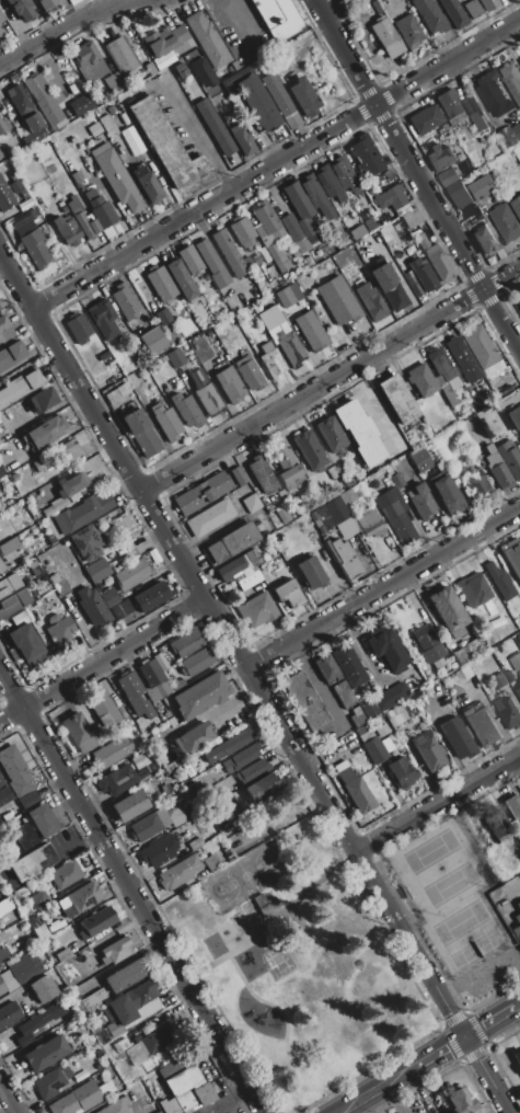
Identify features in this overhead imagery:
building: (47, 4)
building: (488, 4)
building: (375, 7)
building: (21, 9)
building: (473, 9)
building: (453, 13)
building: (430, 16)
building: (1, 19)
building: (279, 19)
road: (74, 21)
building: (1, 31)
building: (408, 32)
building: (386, 37)
building: (209, 39)
building: (160, 43)
building: (123, 56)
building: (89, 62)
building: (150, 68)
road: (51, 69)
building: (199, 69)
building: (13, 79)
building: (113, 80)
building: (511, 80)
building: (493, 93)
building: (277, 95)
building: (302, 97)
building: (42, 101)
building: (257, 103)
building: (450, 104)
building: (470, 104)
building: (81, 105)
building: (23, 108)
building: (67, 114)
road: (188, 117)
building: (425, 119)
building: (108, 126)
building: (3, 127)
building: (216, 127)
building: (443, 128)
building: (99, 130)
building: (510, 135)
building: (242, 139)
building: (165, 145)
building: (471, 154)
building: (0, 157)
building: (367, 157)
building: (440, 157)
road: (277, 165)
road: (416, 174)
building: (13, 176)
building: (77, 176)
building: (345, 176)
building: (448, 176)
building: (116, 179)
building: (328, 183)
building: (147, 185)
building: (482, 187)
building: (372, 188)
building: (459, 194)
building: (315, 196)
building: (5, 197)
building: (390, 199)
building: (299, 202)
building: (72, 203)
building: (517, 206)
building: (100, 209)
building: (266, 218)
building: (411, 218)
building: (506, 222)
building: (23, 223)
building: (370, 225)
building: (85, 226)
building: (67, 231)
building: (243, 232)
building: (300, 232)
building: (386, 234)
building: (485, 242)
building: (35, 249)
building: (228, 253)
building: (279, 256)
building: (436, 259)
building: (189, 261)
building: (212, 264)
building: (423, 275)
building: (161, 285)
building: (183, 285)
building: (392, 294)
building: (284, 297)
building: (293, 300)
building: (125, 301)
building: (338, 301)
building: (370, 302)
building: (519, 305)
building: (0, 308)
building: (163, 317)
building: (103, 320)
building: (78, 329)
building: (5, 330)
building: (311, 330)
building: (154, 342)
building: (287, 343)
building: (481, 347)
building: (11, 355)
building: (460, 355)
building: (104, 356)
building: (175, 358)
building: (270, 362)
building: (439, 364)
building: (250, 374)
building: (196, 377)
building: (33, 379)
road: (332, 381)
building: (421, 381)
building: (229, 386)
building: (13, 392)
building: (43, 399)
building: (209, 400)
building: (397, 400)
building: (506, 400)
building: (185, 410)
building: (515, 417)
building: (165, 422)
building: (359, 432)
building: (44, 433)
building: (140, 433)
building: (331, 436)
building: (311, 450)
building: (68, 452)
building: (509, 459)
building: (420, 460)
building: (42, 464)
building: (289, 468)
building: (497, 469)
building: (1, 473)
building: (238, 475)
building: (262, 475)
building: (396, 481)
building: (71, 485)
building: (478, 487)
building: (201, 493)
building: (447, 494)
building: (252, 503)
building: (421, 503)
building: (1, 505)
building: (55, 506)
building: (335, 510)
building: (82, 513)
building: (285, 515)
building: (395, 516)
building: (209, 518)
building: (369, 521)
building: (53, 541)
building: (86, 543)
building: (231, 543)
building: (9, 547)
building: (8, 555)
building: (254, 555)
building: (513, 556)
building: (346, 559)
building: (1, 569)
building: (34, 569)
building: (96, 570)
building: (229, 570)
building: (314, 572)
building: (131, 575)
building: (500, 582)
building: (59, 584)
building: (9, 585)
road: (384, 589)
building: (473, 589)
building: (289, 594)
building: (151, 597)
building: (109, 598)
building: (13, 603)
building: (93, 607)
building: (122, 609)
building: (257, 610)
building: (448, 611)
building: (59, 628)
building: (27, 642)
building: (428, 643)
building: (185, 644)
building: (475, 647)
building: (388, 652)
building: (461, 656)
building: (159, 661)
building: (516, 662)
road: (103, 663)
building: (196, 663)
building: (349, 666)
building: (326, 669)
building: (509, 676)
building: (154, 677)
building: (498, 677)
road: (256, 681)
building: (518, 692)
building: (344, 695)
building: (135, 696)
building: (200, 696)
building: (391, 696)
building: (304, 701)
building: (109, 703)
road: (327, 704)
building: (370, 709)
building: (508, 711)
road: (207, 714)
building: (396, 716)
building: (357, 718)
building: (481, 726)
building: (382, 731)
building: (78, 732)
building: (193, 738)
building: (457, 738)
building: (235, 742)
building: (378, 749)
building: (427, 750)
building: (112, 751)
building: (244, 756)
road: (325, 757)
building: (167, 759)
building: (219, 768)
building: (253, 770)
building: (402, 772)
building: (18, 774)
building: (122, 779)
building: (1, 784)
building: (263, 788)
building: (519, 788)
building: (356, 791)
building: (4, 795)
building: (27, 801)
road: (439, 804)
building: (513, 805)
building: (129, 806)
building: (494, 823)
building: (36, 826)
building: (143, 828)
building: (195, 844)
building: (220, 850)
building: (158, 852)
building: (33, 863)
building: (211, 863)
building: (180, 873)
building: (62, 877)
park: (246, 880)
road: (131, 891)
park: (451, 895)
building: (81, 899)
building: (38, 902)
building: (265, 904)
building: (518, 906)
building: (25, 910)
building: (7, 913)
building: (95, 923)
building: (517, 928)
building: (43, 931)
building: (116, 951)
building: (3, 953)
park: (345, 954)
building: (63, 955)
building: (24, 967)
building: (126, 976)
building: (5, 982)
building: (43, 988)
building: (91, 1001)
building: (132, 1001)
building: (143, 1012)
building: (109, 1016)
building: (42, 1018)
building: (10, 1019)
building: (114, 1029)
traffic signals: (469, 1039)
building: (148, 1043)
building: (47, 1054)
building: (517, 1058)
road: (431, 1060)
building: (57, 1079)
building: (182, 1079)
road: (210, 1079)
building: (154, 1086)
building: (204, 1094)
road: (9, 1097)
road: (396, 1099)
building: (77, 1100)
building: (460, 1102)
building: (117, 1106)

